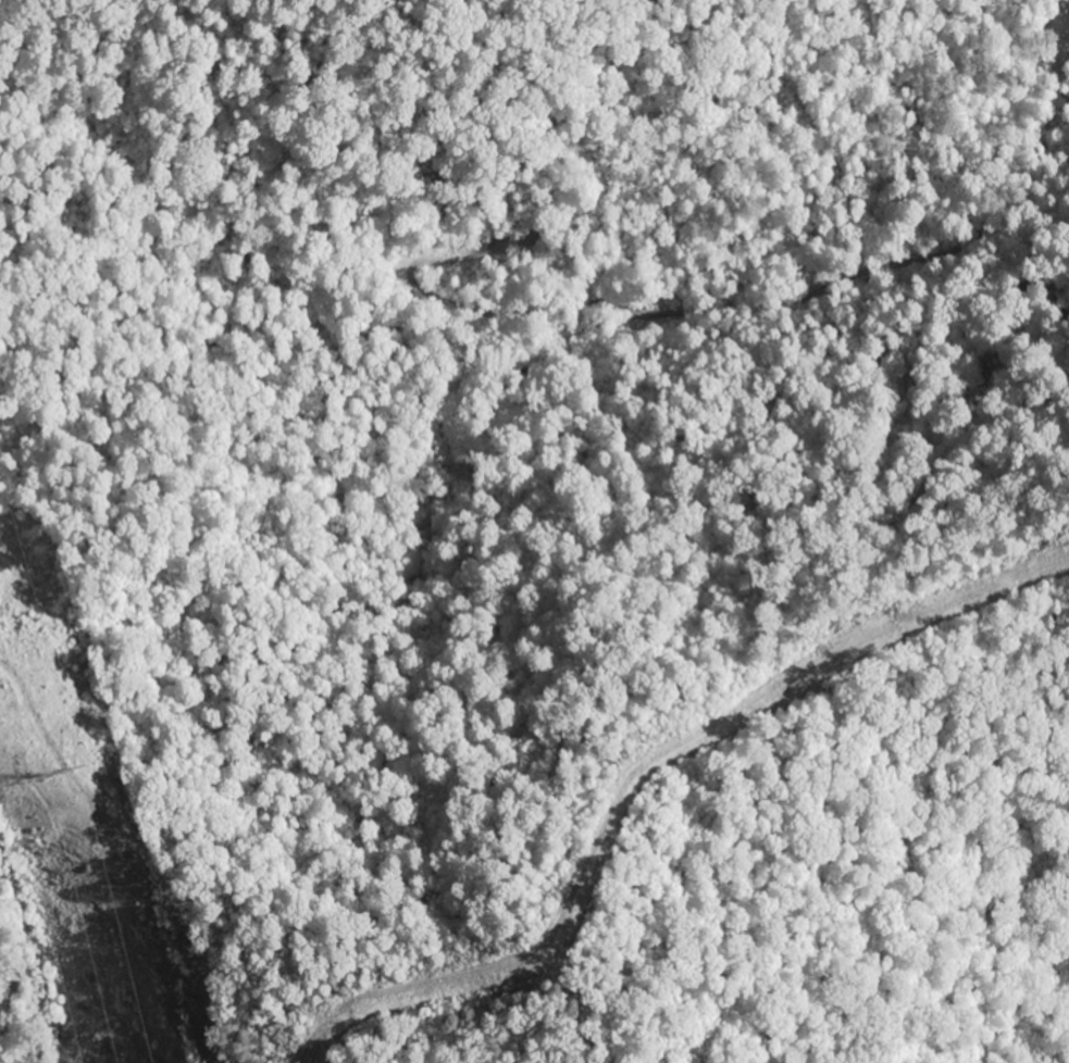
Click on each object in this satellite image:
power tower: (57, 809)

